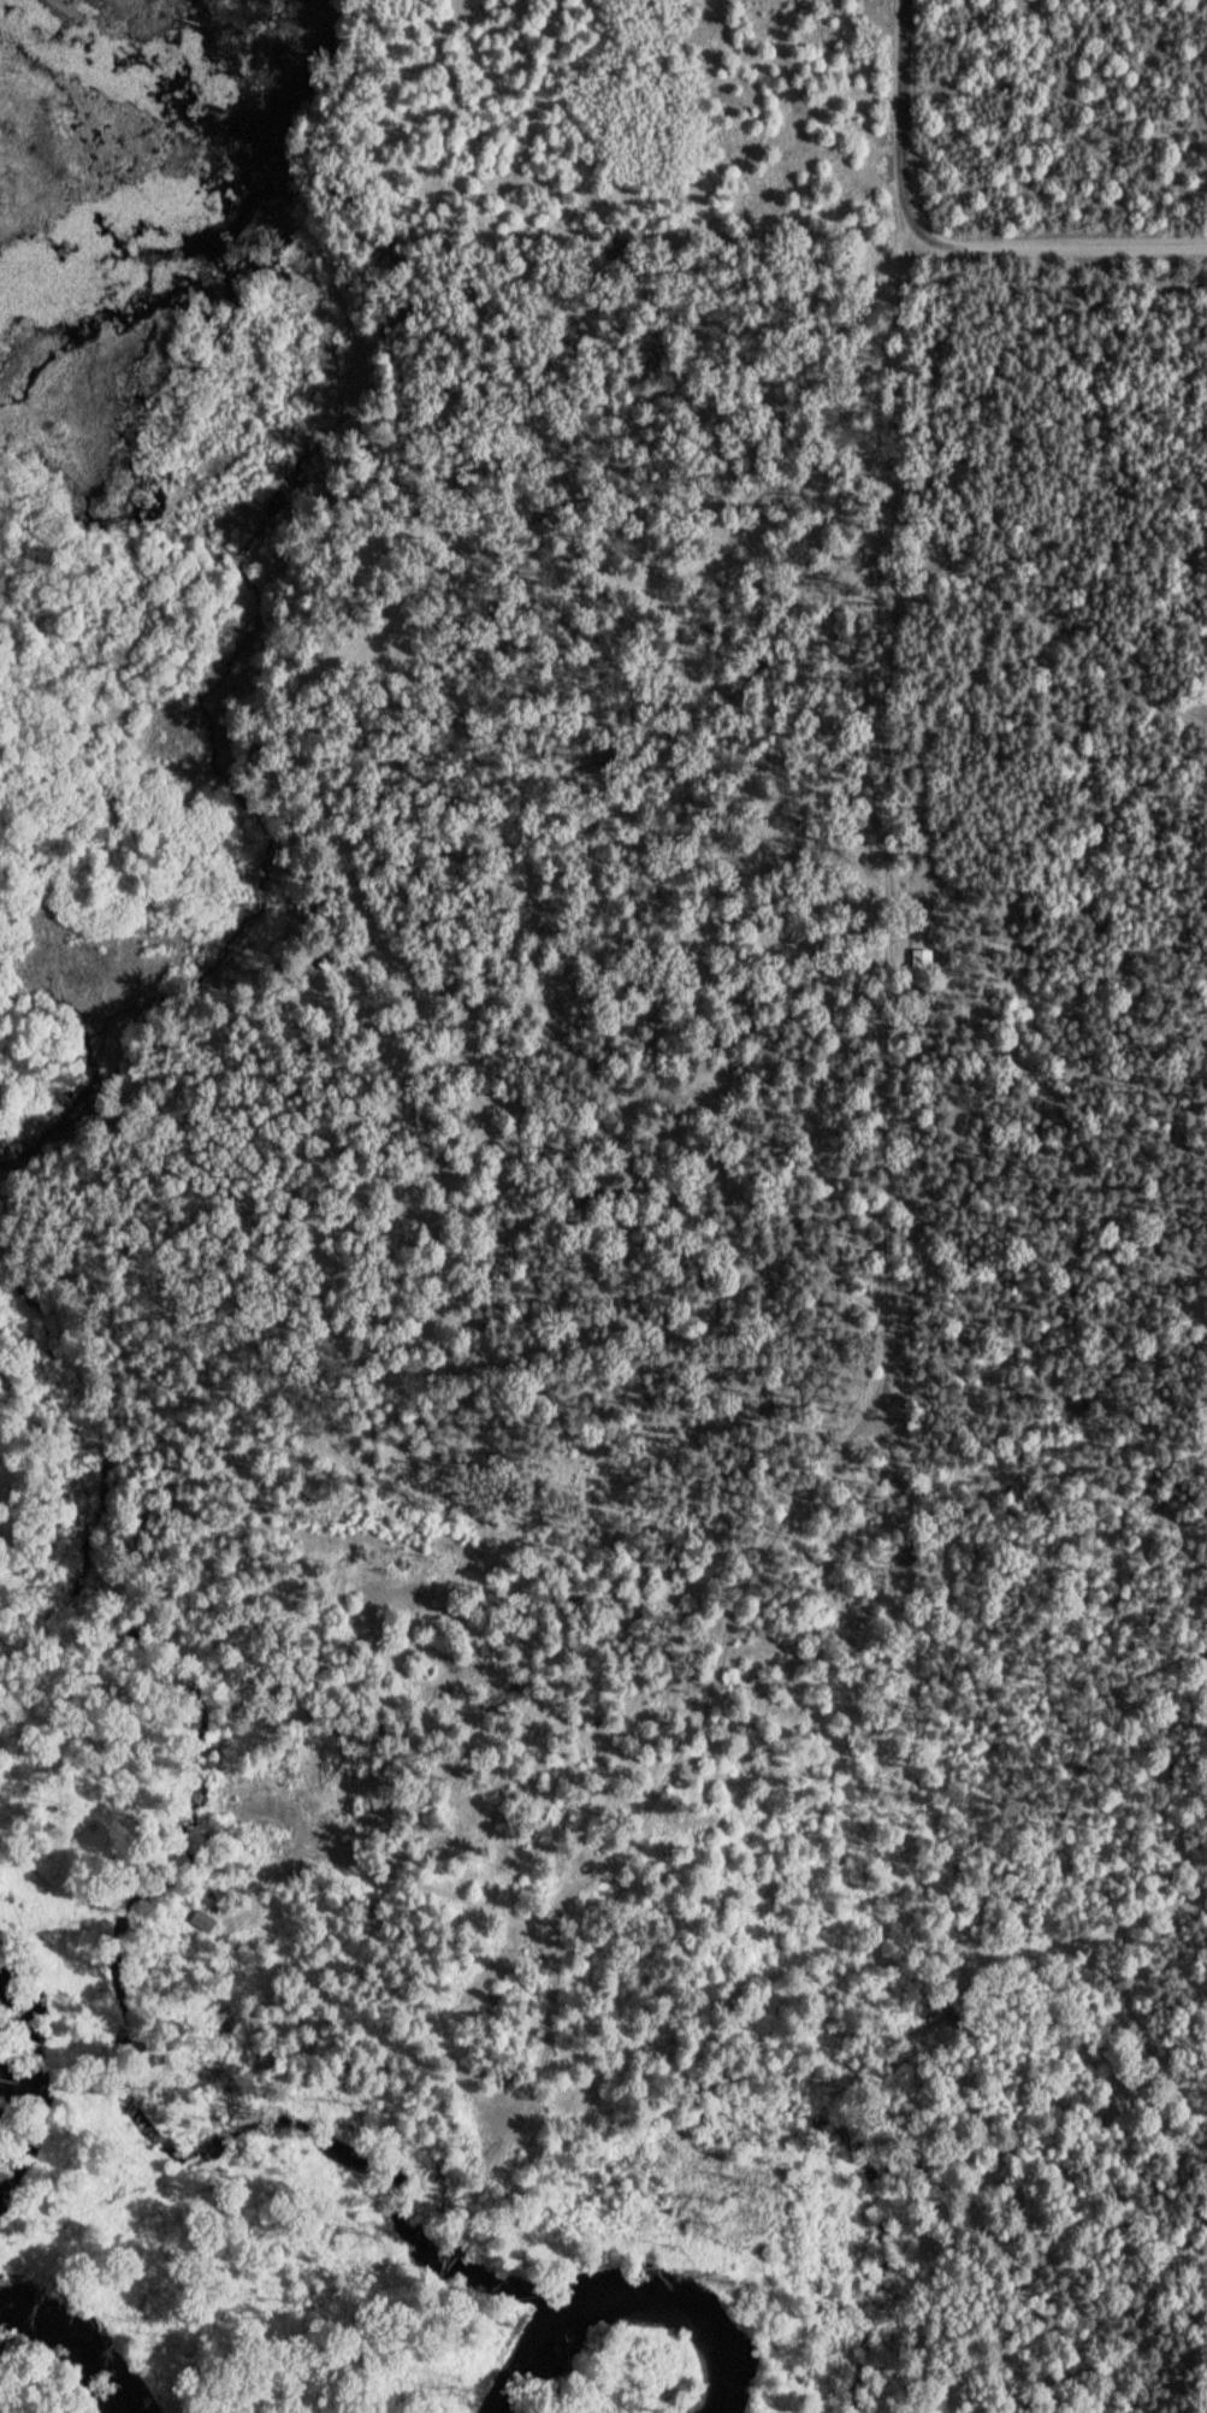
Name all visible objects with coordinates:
road: (904, 101)
road: (1055, 246)
road: (578, 526)
road: (1048, 626)
building: (922, 958)
road: (871, 1120)
road: (368, 1869)
river: (6, 2061)
river: (633, 2314)
river: (76, 2346)

